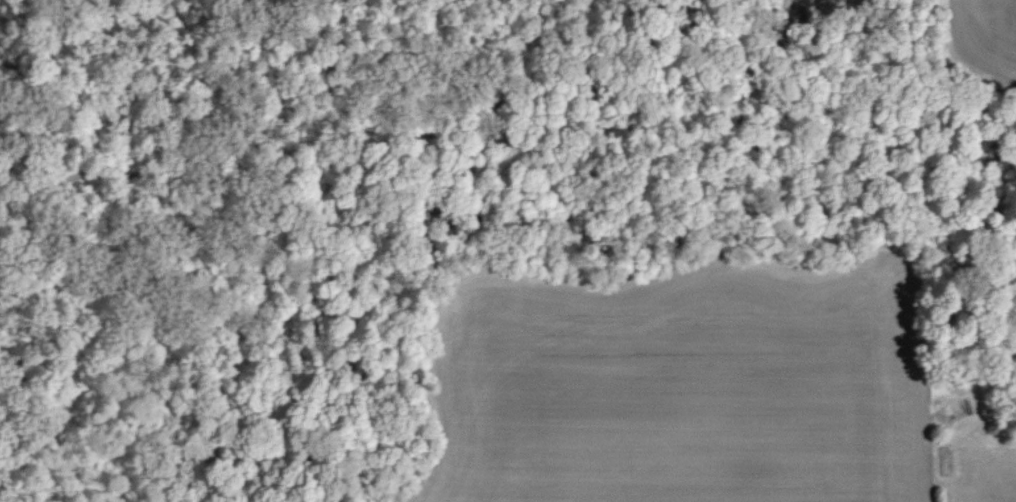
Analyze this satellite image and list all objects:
crop: (983, 34)
road: (943, 53)

